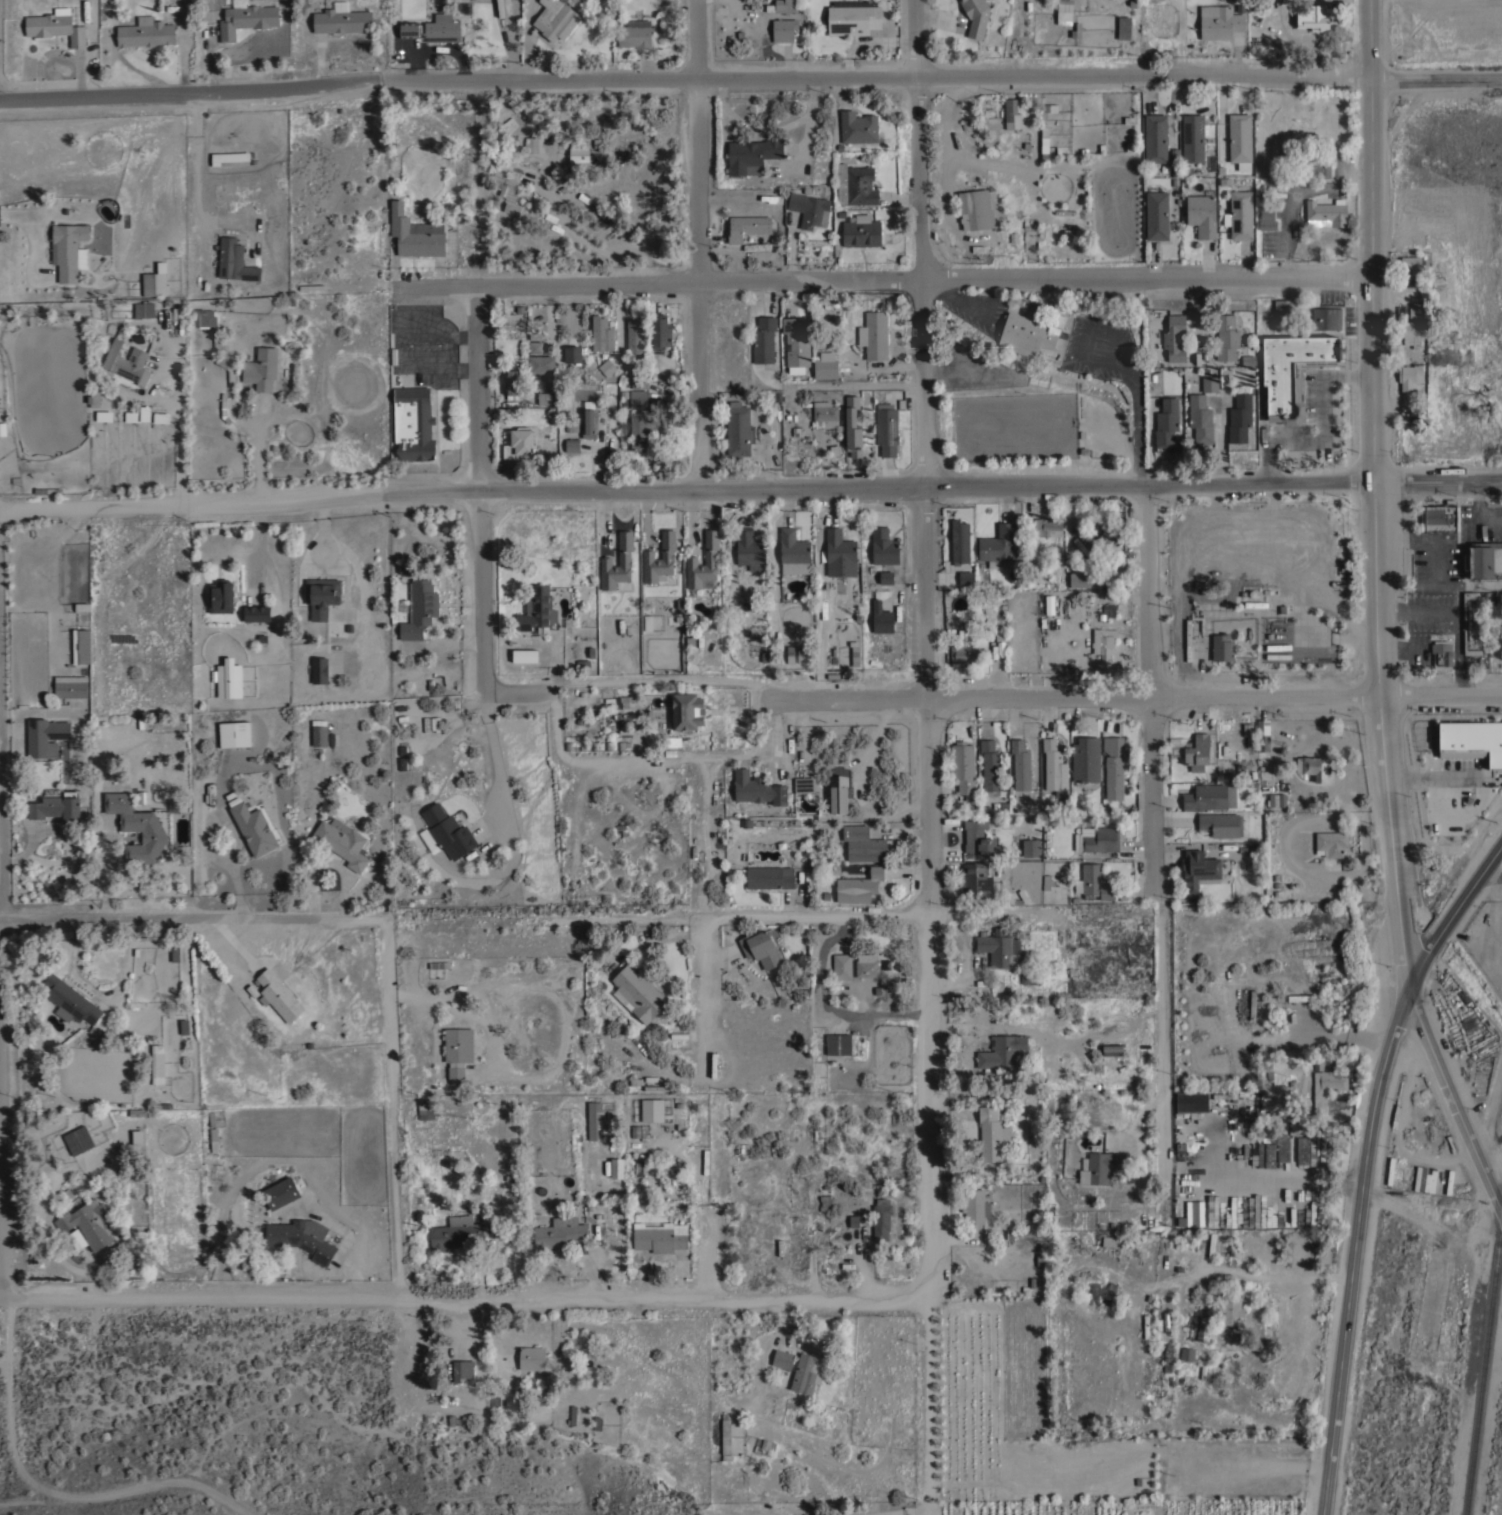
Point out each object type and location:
building: (1252, 5)
building: (782, 6)
building: (1064, 12)
building: (976, 16)
building: (1311, 17)
building: (247, 19)
building: (554, 19)
building: (853, 19)
building: (342, 21)
building: (1220, 22)
building: (55, 26)
building: (442, 28)
building: (1125, 28)
building: (783, 29)
building: (409, 30)
building: (146, 32)
building: (634, 34)
road: (1435, 80)
road: (683, 81)
building: (1011, 116)
building: (509, 125)
building: (858, 127)
building: (1239, 137)
building: (1155, 138)
building: (1192, 138)
building: (1044, 141)
building: (530, 144)
building: (1222, 148)
building: (579, 151)
building: (752, 155)
building: (228, 159)
building: (1319, 169)
building: (506, 184)
building: (855, 185)
building: (809, 209)
building: (975, 209)
building: (576, 213)
building: (1326, 213)
building: (1202, 214)
building: (1156, 215)
building: (1240, 215)
building: (1267, 218)
building: (747, 226)
building: (861, 231)
building: (415, 233)
road: (699, 246)
building: (67, 249)
building: (234, 260)
building: (1411, 264)
road: (885, 279)
building: (154, 284)
building: (311, 287)
building: (1033, 306)
building: (1284, 306)
building: (144, 309)
building: (1410, 312)
building: (203, 317)
building: (1326, 318)
building: (1056, 319)
road: (440, 323)
building: (661, 330)
building: (1412, 332)
building: (601, 334)
building: (1026, 334)
building: (874, 335)
road: (464, 336)
building: (634, 336)
building: (1226, 337)
building: (763, 340)
building: (1170, 342)
building: (796, 345)
building: (535, 347)
building: (572, 355)
building: (127, 362)
building: (879, 362)
building: (541, 364)
building: (825, 365)
building: (606, 367)
building: (261, 368)
road: (437, 369)
building: (638, 370)
building: (1291, 373)
building: (1408, 377)
building: (510, 382)
building: (1209, 383)
building: (775, 394)
building: (94, 398)
building: (543, 398)
building: (638, 399)
building: (223, 404)
building: (824, 414)
building: (104, 415)
building: (138, 415)
building: (161, 417)
building: (1240, 418)
building: (1200, 419)
building: (1166, 421)
building: (413, 423)
building: (589, 423)
building: (572, 426)
building: (852, 426)
road: (1321, 427)
building: (2, 428)
building: (640, 430)
building: (886, 430)
building: (738, 431)
road: (182, 441)
building: (519, 443)
road: (924, 444)
building: (572, 445)
road: (259, 460)
road: (1437, 480)
road: (686, 493)
road: (1373, 495)
road: (1473, 512)
building: (1105, 515)
building: (1440, 517)
building: (1086, 520)
building: (1047, 527)
building: (1105, 537)
building: (959, 542)
building: (997, 544)
building: (884, 547)
building: (839, 548)
building: (748, 549)
building: (793, 552)
road: (482, 553)
building: (624, 558)
building: (710, 558)
building: (659, 559)
building: (1484, 559)
building: (1055, 564)
building: (886, 577)
building: (965, 577)
building: (1082, 579)
building: (1267, 579)
building: (220, 596)
building: (321, 596)
building: (1202, 599)
building: (1049, 604)
building: (1272, 608)
building: (420, 609)
building: (537, 610)
building: (1107, 610)
building: (257, 613)
building: (881, 617)
building: (648, 622)
building: (1473, 623)
building: (999, 634)
building: (1103, 642)
building: (86, 646)
building: (1222, 647)
building: (51, 649)
building: (963, 649)
building: (1441, 654)
building: (525, 655)
building: (788, 655)
building: (799, 655)
building: (319, 670)
building: (229, 678)
road: (662, 680)
building: (71, 686)
road: (1138, 700)
building: (622, 702)
building: (687, 711)
building: (431, 724)
building: (235, 734)
building: (1262, 734)
building: (45, 735)
building: (319, 735)
building: (671, 741)
building: (1471, 741)
building: (1192, 750)
road: (634, 757)
building: (1085, 759)
building: (64, 761)
building: (989, 764)
building: (963, 765)
building: (1020, 765)
building: (1054, 765)
building: (1314, 766)
building: (1113, 767)
road: (3, 780)
building: (804, 785)
building: (759, 791)
building: (838, 794)
building: (1210, 796)
building: (56, 808)
building: (1221, 824)
building: (139, 826)
building: (254, 826)
building: (448, 831)
road: (710, 837)
building: (978, 838)
building: (1097, 839)
building: (341, 842)
building: (1331, 842)
building: (862, 844)
building: (1029, 848)
road: (1154, 850)
building: (1199, 869)
building: (769, 877)
building: (975, 880)
building: (1046, 882)
building: (1095, 882)
building: (859, 886)
road: (193, 912)
road: (1453, 913)
road: (818, 917)
building: (761, 947)
building: (1000, 948)
road: (71, 963)
building: (866, 965)
building: (842, 966)
building: (1028, 978)
road: (707, 979)
building: (638, 993)
building: (278, 995)
building: (1300, 998)
building: (70, 1001)
building: (1252, 1004)
building: (702, 1027)
road: (1342, 1031)
building: (1000, 1041)
building: (838, 1043)
building: (1111, 1050)
building: (458, 1054)
building: (157, 1064)
building: (713, 1064)
building: (1266, 1074)
building: (656, 1087)
building: (1325, 1087)
building: (1225, 1096)
building: (1191, 1103)
road: (1453, 1104)
road: (395, 1106)
building: (652, 1109)
building: (425, 1111)
building: (593, 1126)
building: (1300, 1129)
building: (991, 1134)
building: (137, 1137)
building: (79, 1140)
building: (214, 1140)
building: (1283, 1151)
building: (1302, 1151)
building: (1270, 1156)
road: (0, 1158)
building: (1099, 1167)
building: (617, 1168)
building: (1422, 1180)
building: (281, 1192)
building: (1181, 1200)
road: (931, 1201)
building: (826, 1203)
building: (975, 1206)
road: (3, 1214)
building: (1050, 1215)
building: (881, 1218)
building: (89, 1223)
building: (455, 1232)
building: (558, 1232)
building: (659, 1236)
building: (301, 1237)
building: (76, 1240)
building: (1113, 1241)
road: (1351, 1250)
road: (465, 1298)
building: (1229, 1310)
building: (1145, 1326)
building: (1202, 1329)
building: (1187, 1353)
building: (1168, 1357)
building: (532, 1358)
building: (782, 1359)
building: (461, 1369)
railway: (1486, 1372)
building: (806, 1373)
building: (496, 1400)
building: (571, 1415)
building: (725, 1436)
road: (50, 1492)

